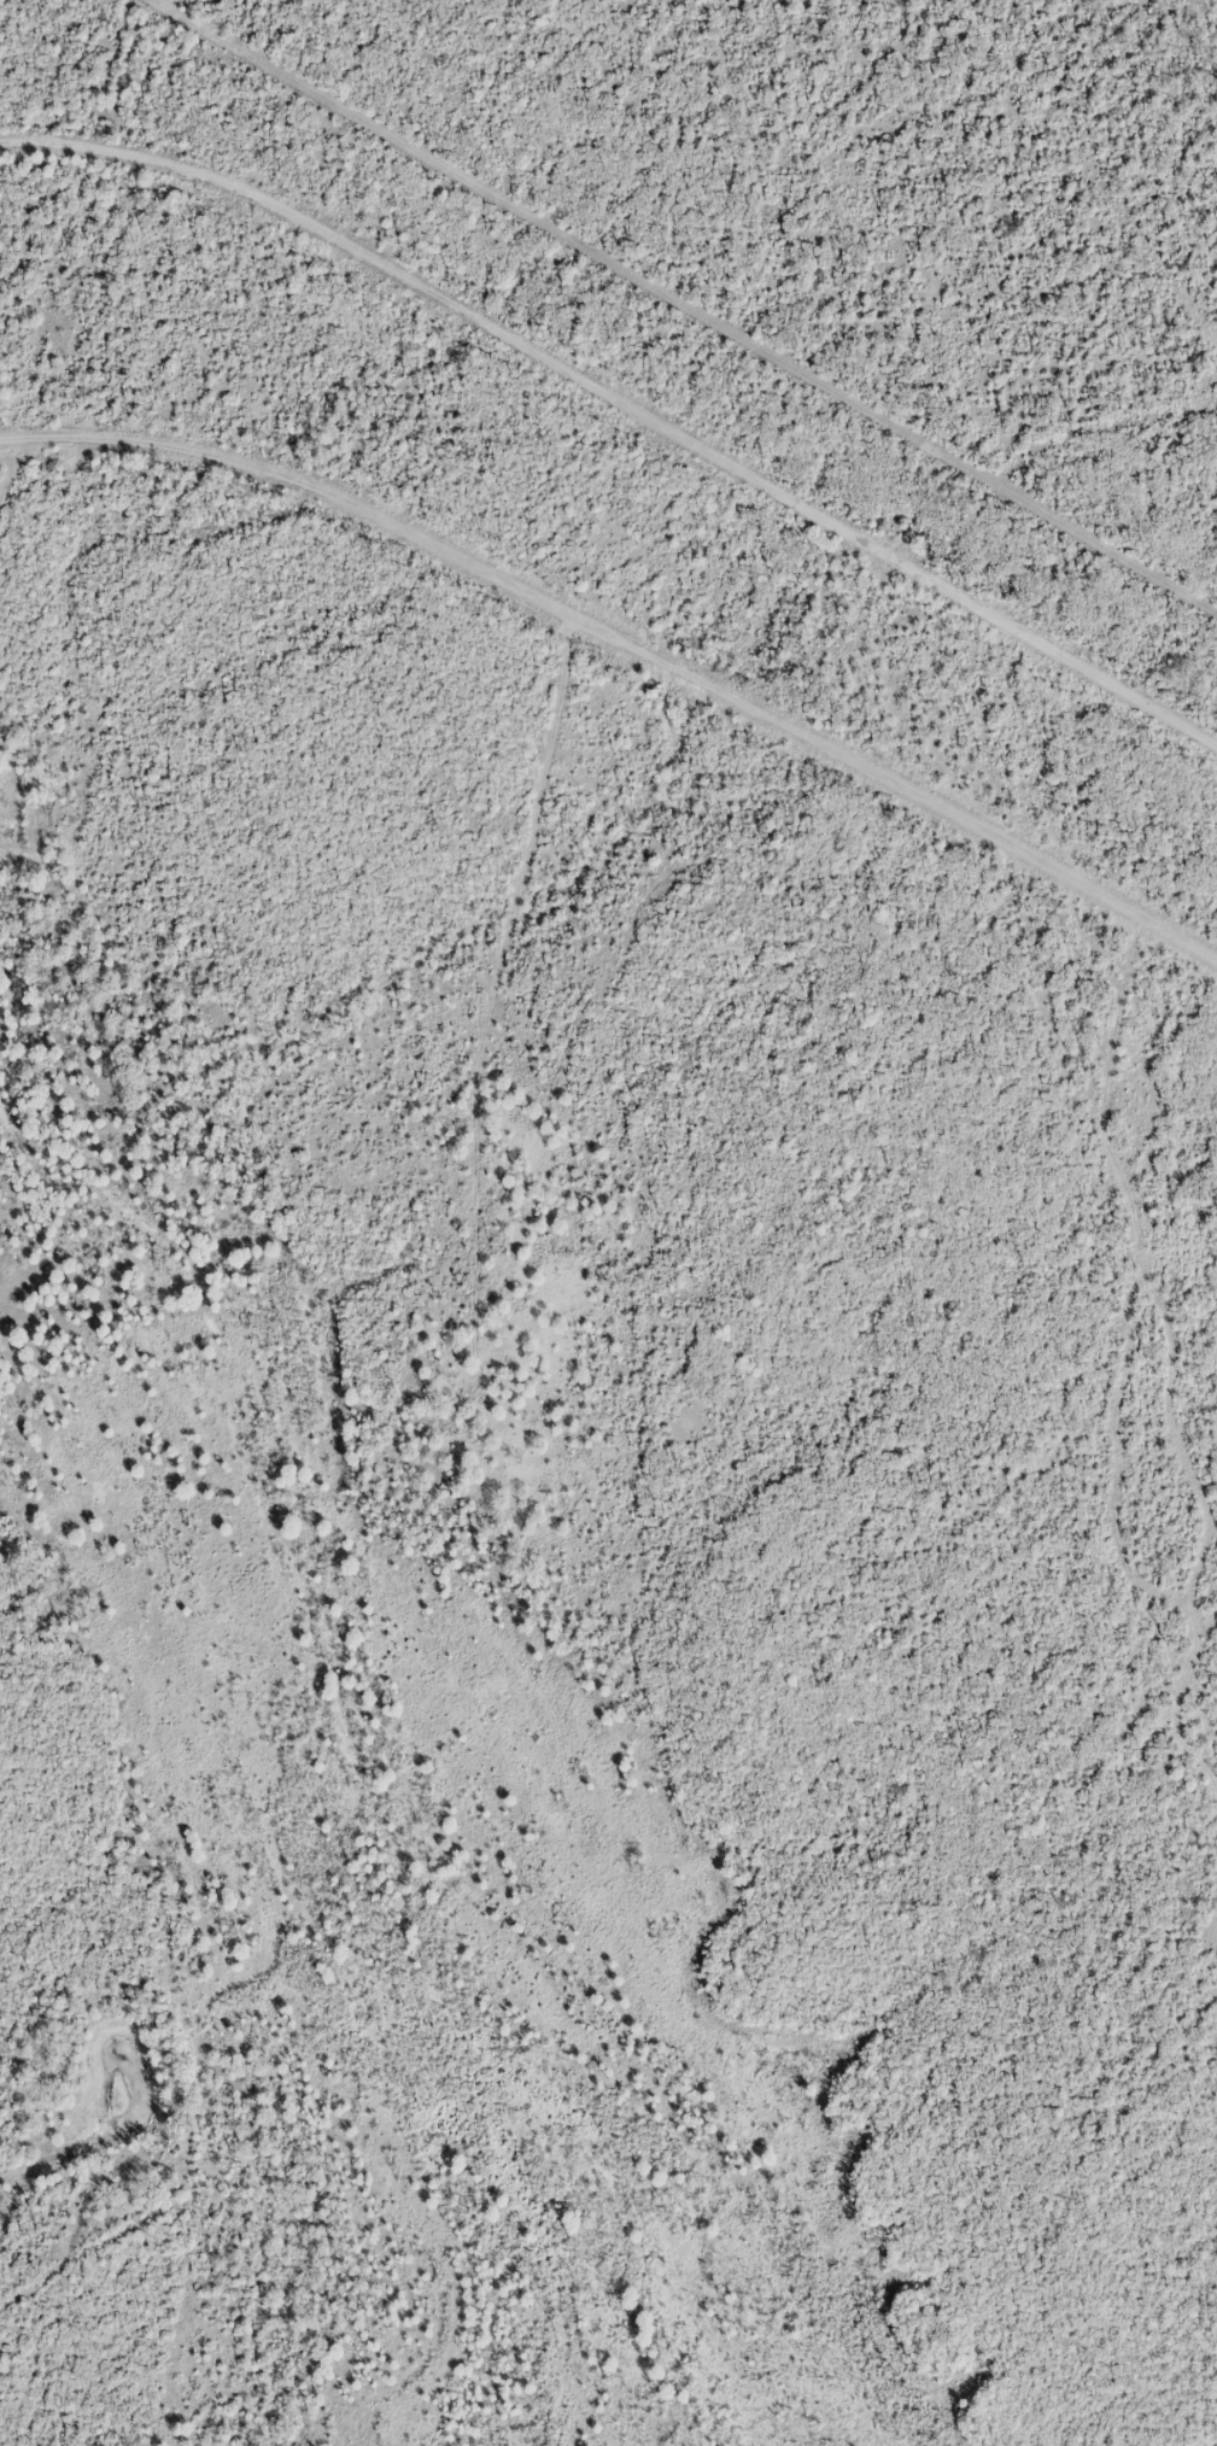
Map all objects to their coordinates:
road: (634, 341)
road: (626, 646)

